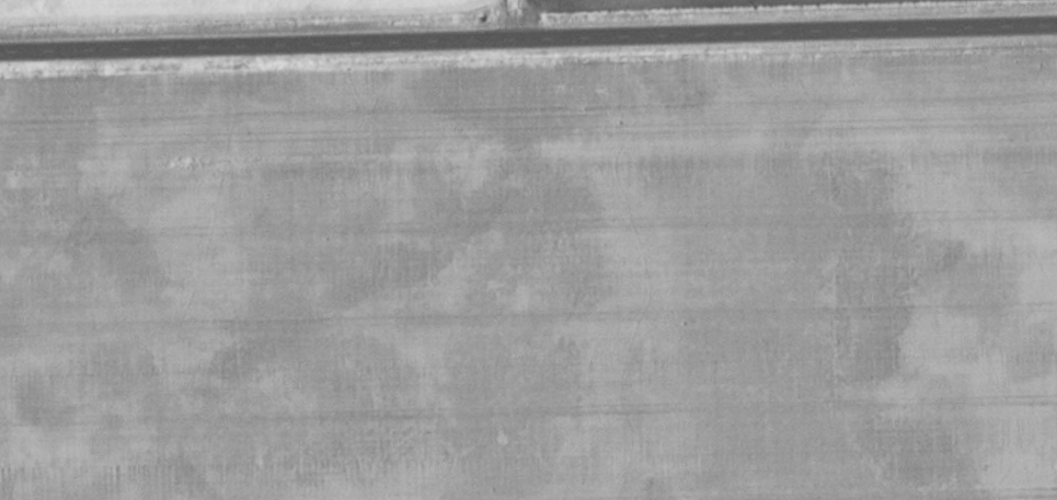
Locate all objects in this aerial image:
road: (528, 36)

